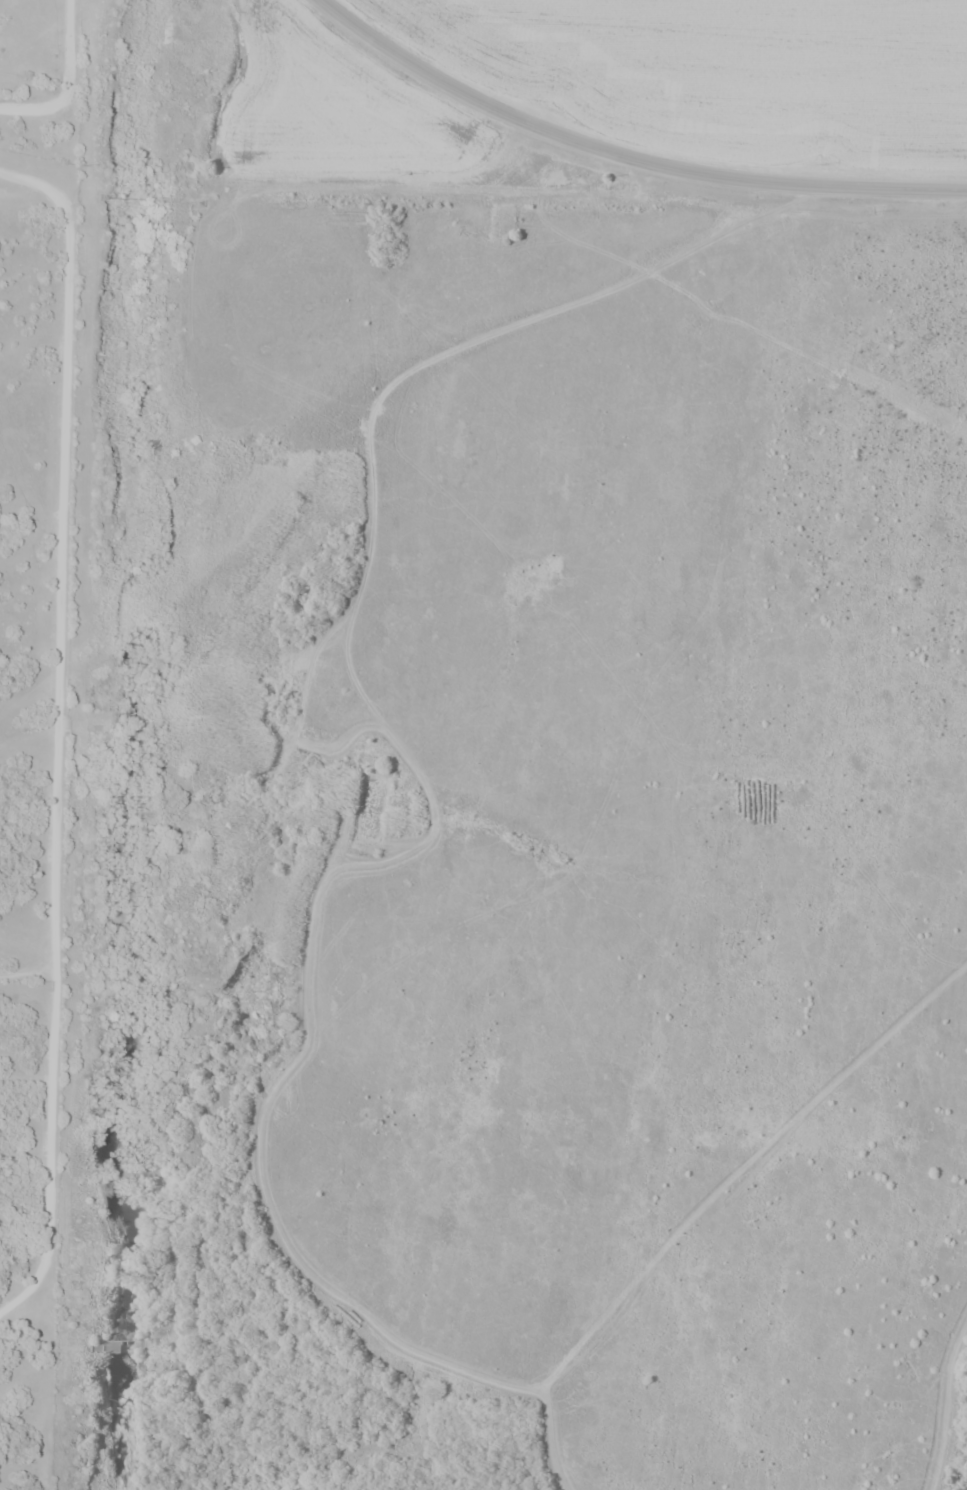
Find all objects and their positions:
road: (68, 80)
road: (620, 159)
road: (60, 733)

